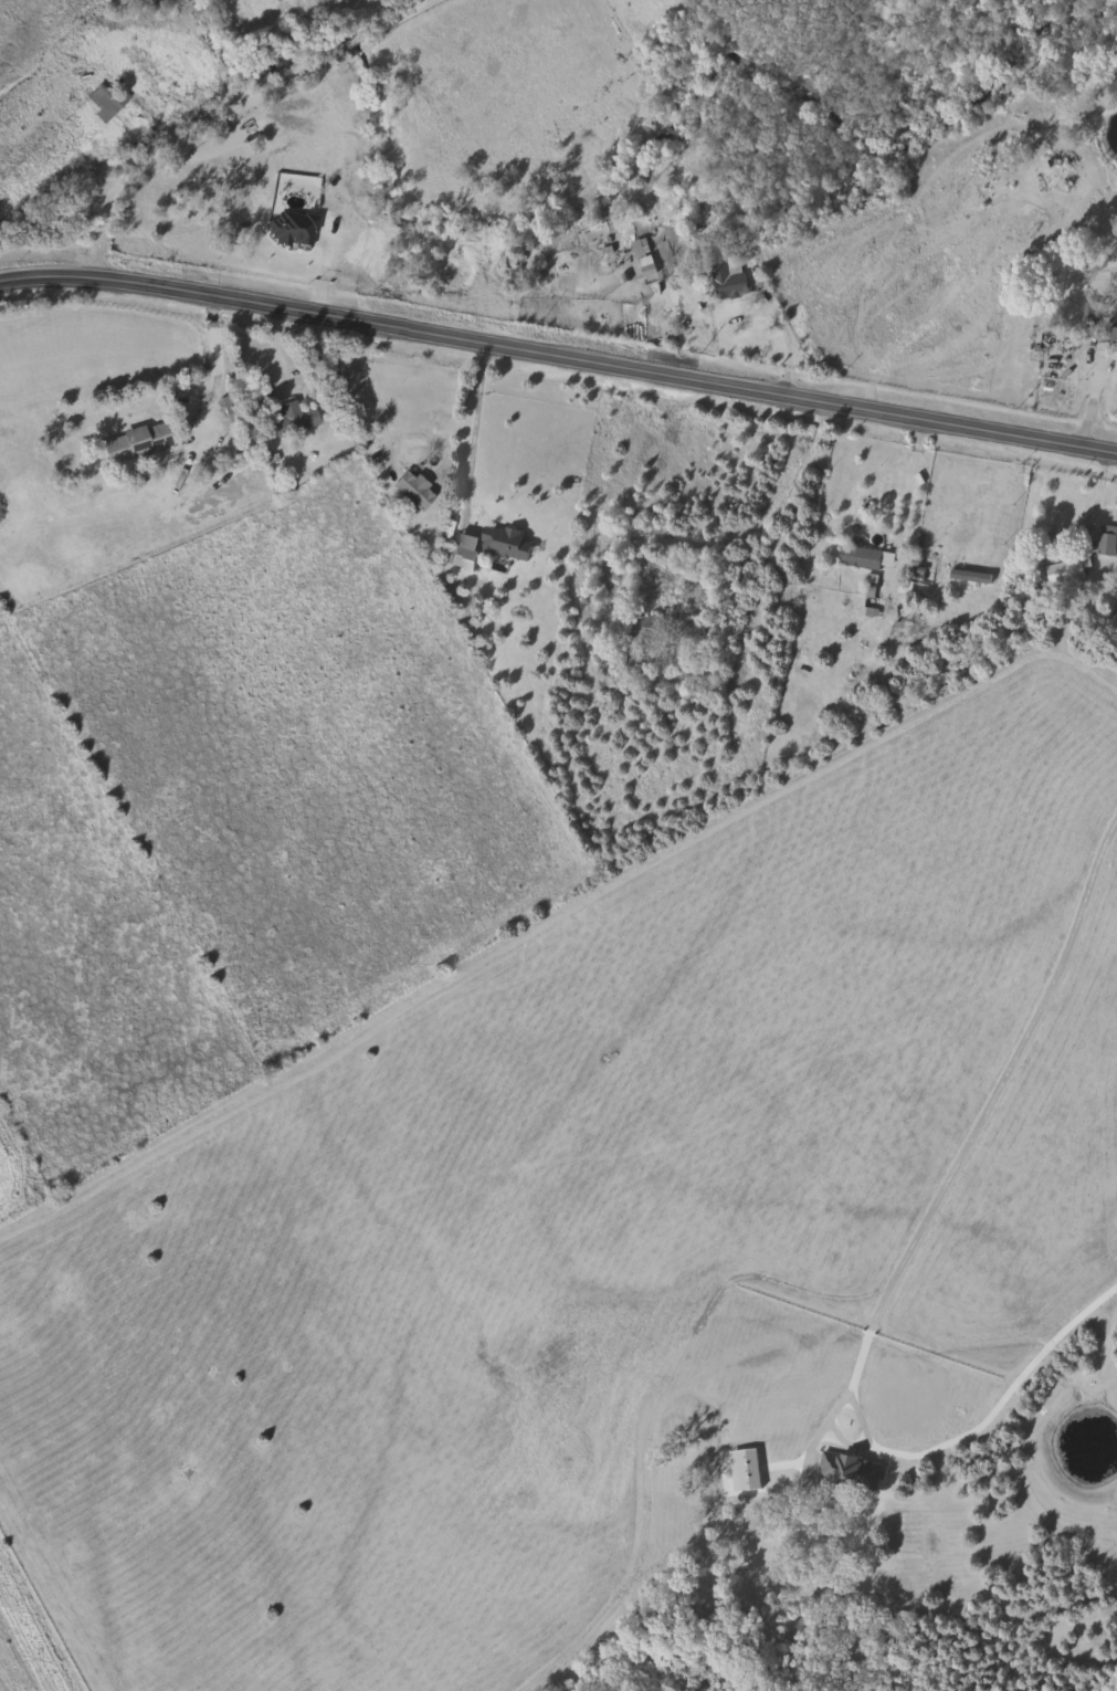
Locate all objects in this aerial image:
building: (105, 99)
road: (234, 114)
building: (646, 254)
building: (730, 274)
road: (781, 322)
building: (1114, 333)
road: (280, 342)
road: (558, 354)
road: (222, 365)
road: (1094, 391)
road: (373, 398)
building: (293, 416)
road: (473, 423)
building: (137, 441)
road: (910, 482)
building: (413, 490)
road: (1100, 494)
building: (1108, 538)
building: (504, 540)
road: (739, 542)
building: (867, 556)
building: (1065, 569)
building: (665, 624)
road: (1001, 1081)
road: (867, 1337)
road: (965, 1433)
building: (746, 1469)
building: (852, 1471)

